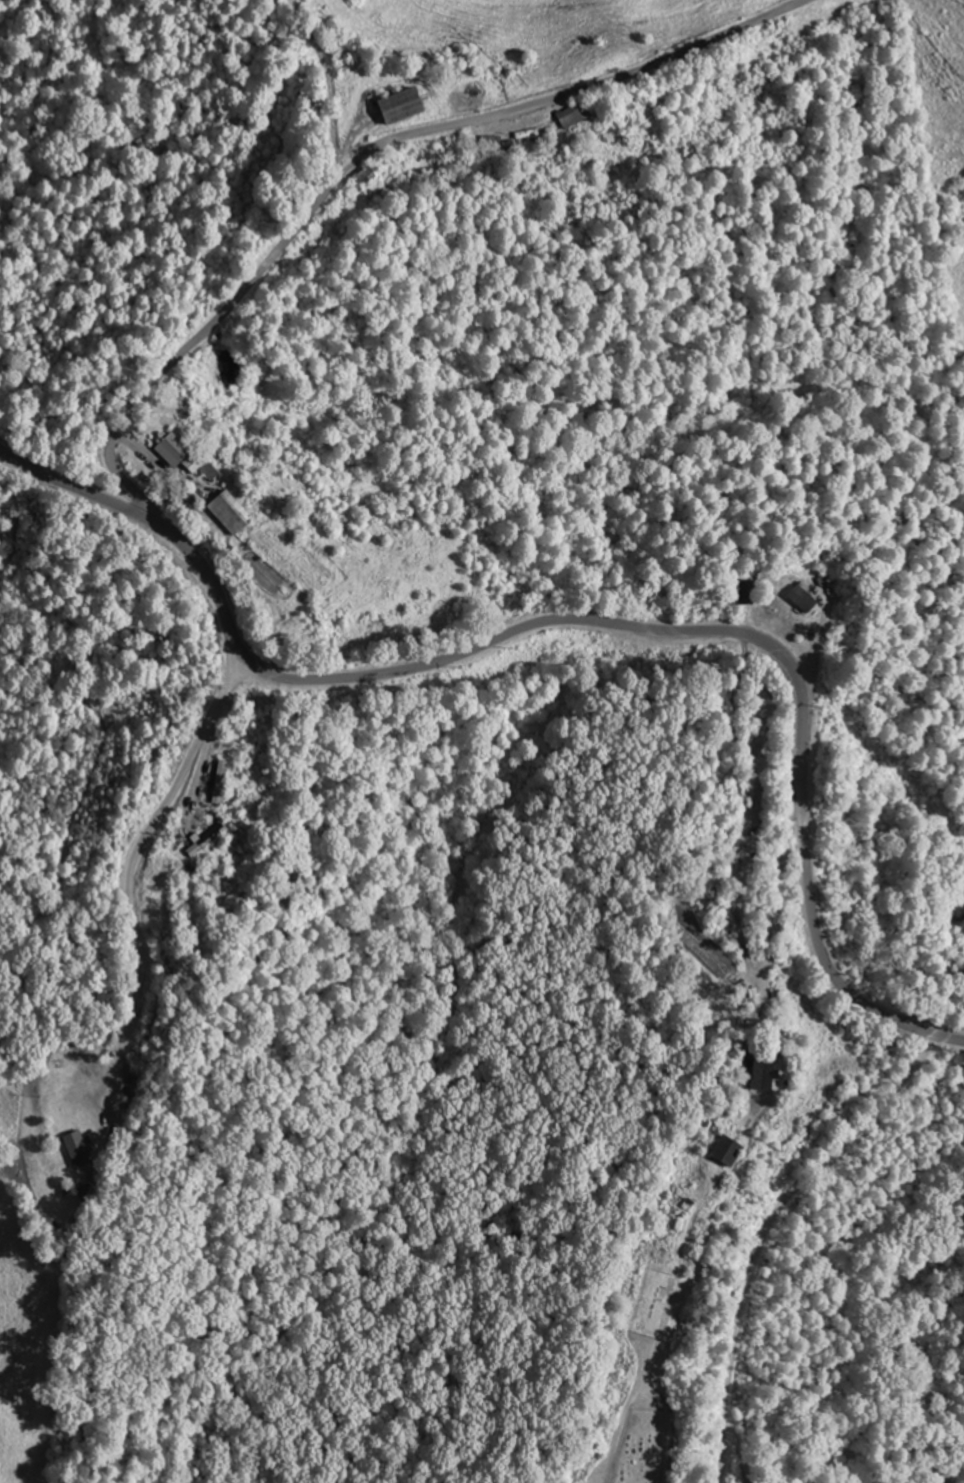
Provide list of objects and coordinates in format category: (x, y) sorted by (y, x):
road: (329, 84)
road: (921, 84)
building: (390, 108)
building: (566, 116)
building: (521, 136)
building: (486, 142)
road: (354, 163)
building: (359, 179)
building: (163, 453)
building: (216, 512)
building: (736, 592)
building: (791, 599)
road: (581, 620)
building: (214, 782)
building: (200, 841)
building: (755, 1072)
building: (73, 1150)
building: (719, 1152)
road: (768, 1232)
park: (656, 1304)
park: (643, 1447)

